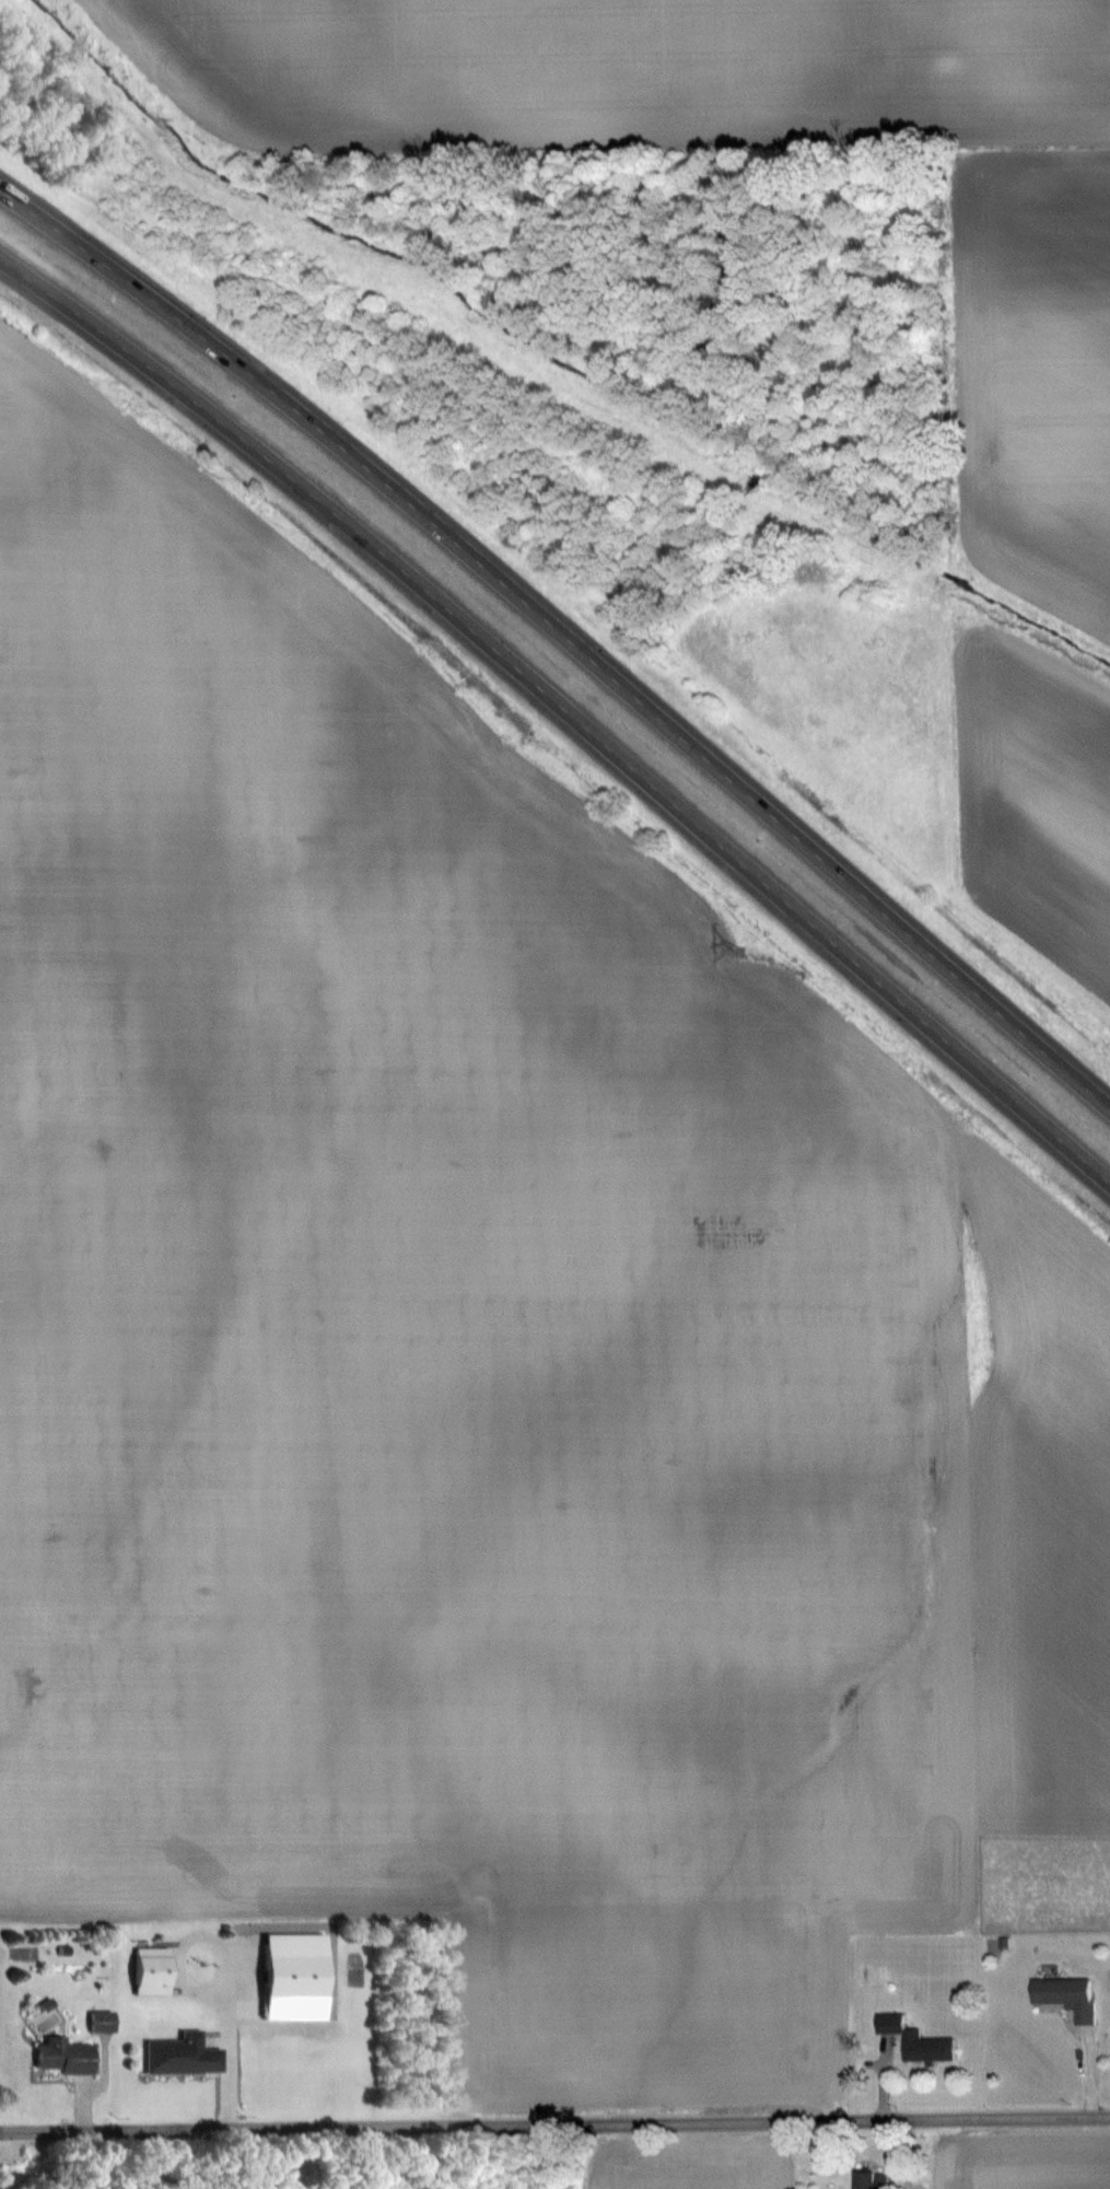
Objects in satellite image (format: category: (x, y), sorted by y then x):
road: (564, 637)
road: (563, 709)
building: (282, 1959)
building: (150, 1971)
building: (1066, 1995)
building: (101, 2022)
building: (914, 2038)
building: (179, 2056)
building: (62, 2057)
road: (561, 2124)
road: (7, 2132)
building: (868, 2179)

